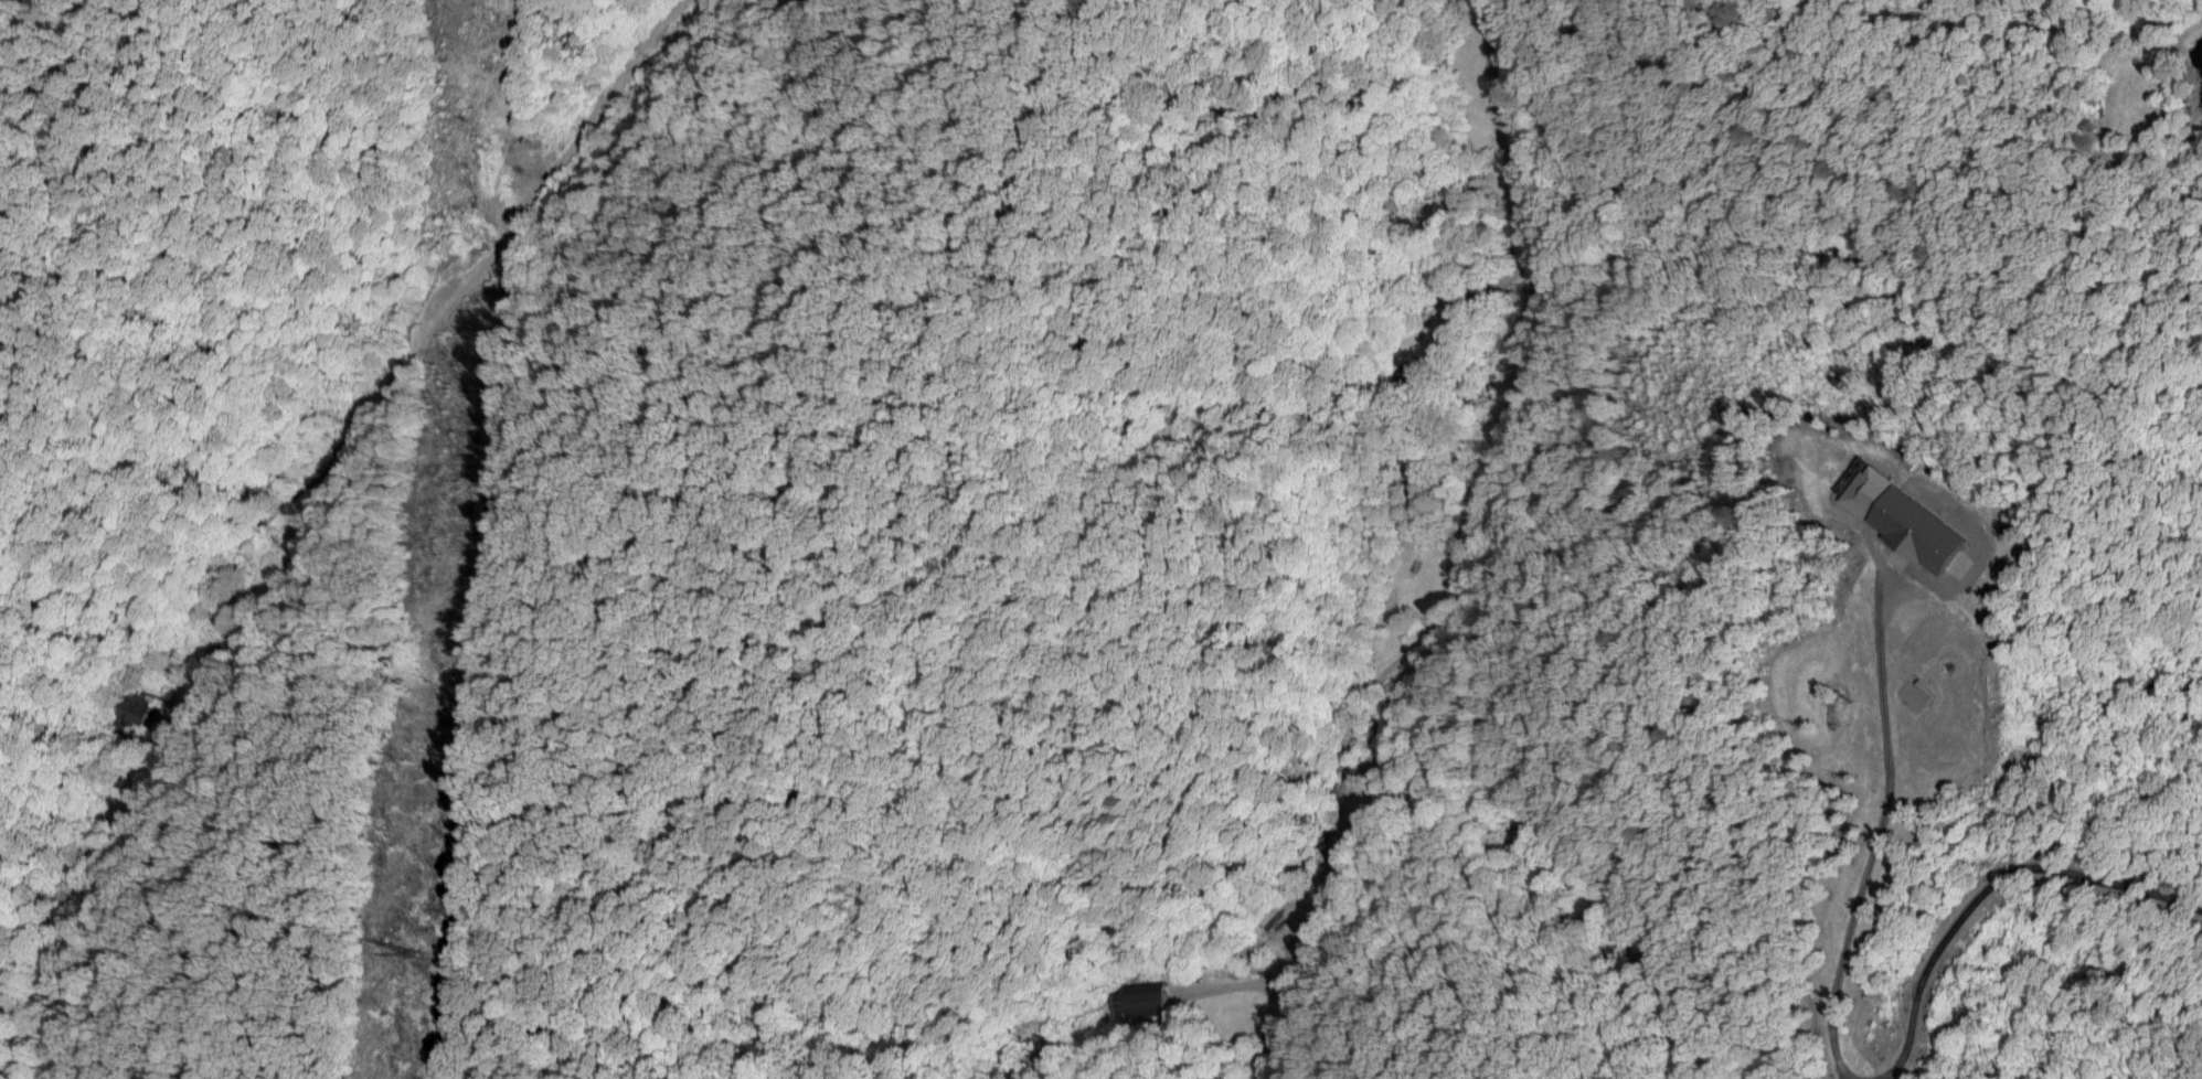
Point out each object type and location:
road: (1519, 182)
road: (434, 320)
building: (1901, 514)
road: (1874, 845)
road: (1979, 888)
power tower: (408, 950)
building: (1139, 996)

